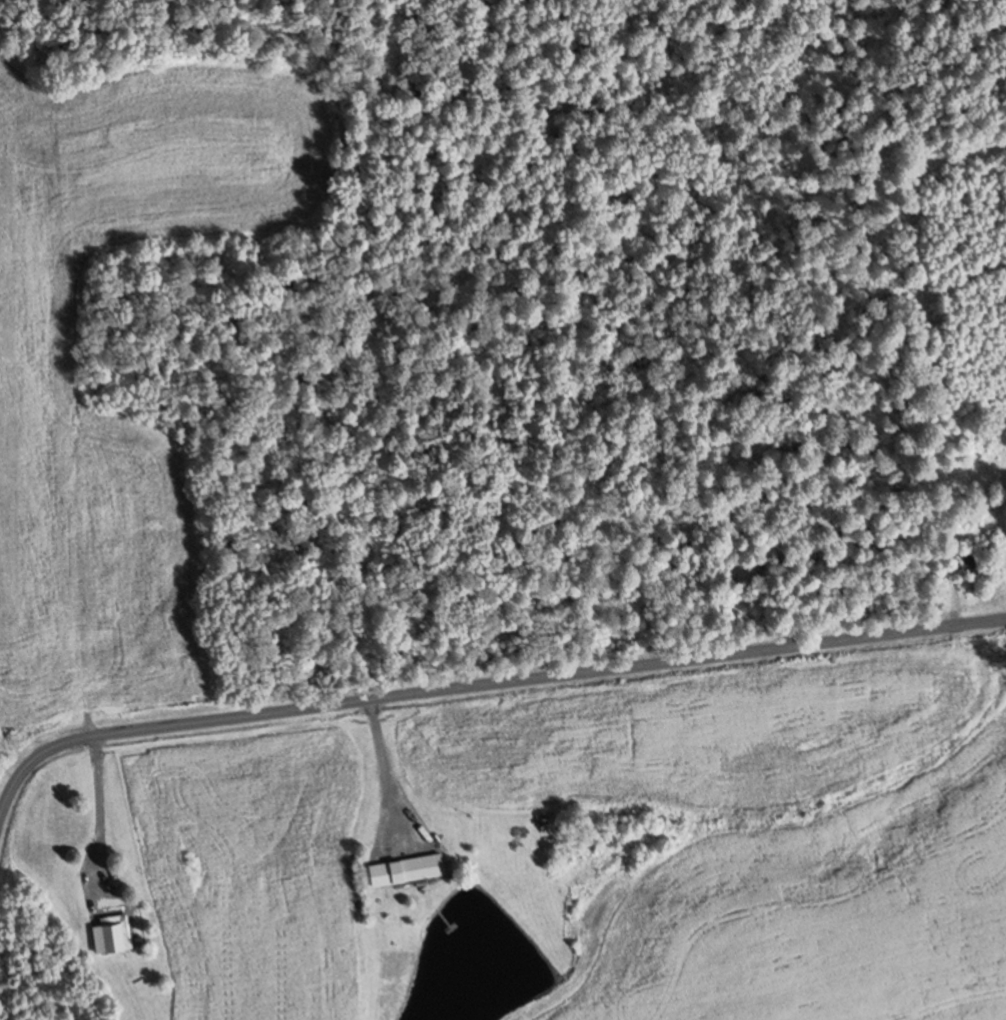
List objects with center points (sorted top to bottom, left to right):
road: (477, 688)

